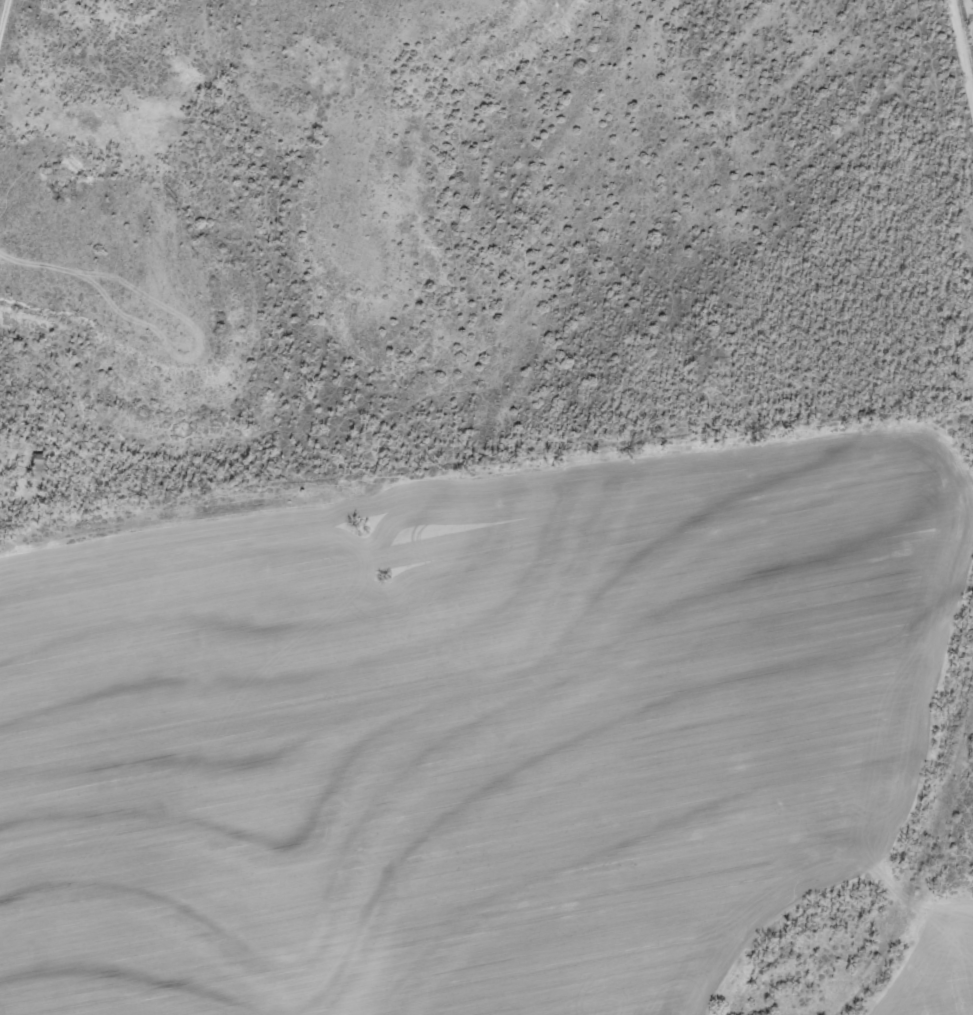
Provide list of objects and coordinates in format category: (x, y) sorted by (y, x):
road: (0, 2)
road: (961, 53)

